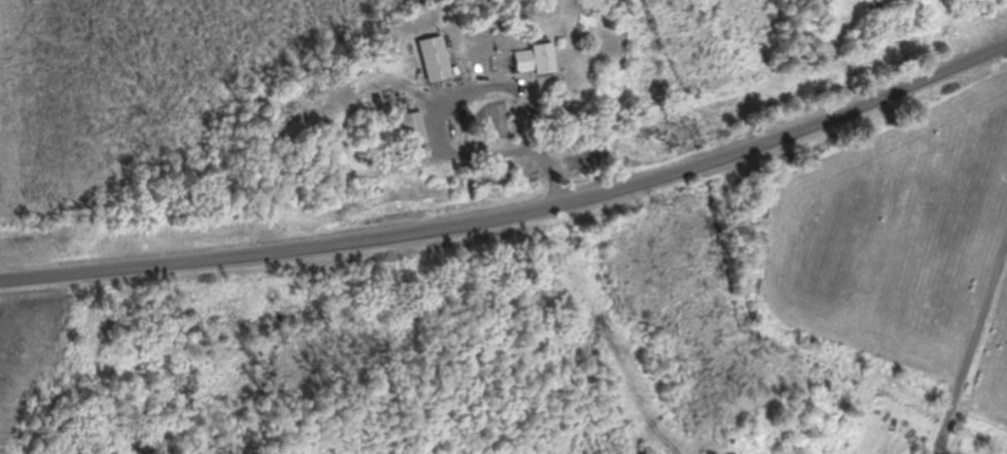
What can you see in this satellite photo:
building: (821, 11)
building: (436, 59)
building: (536, 60)
building: (414, 130)
road: (517, 226)
road: (990, 412)

